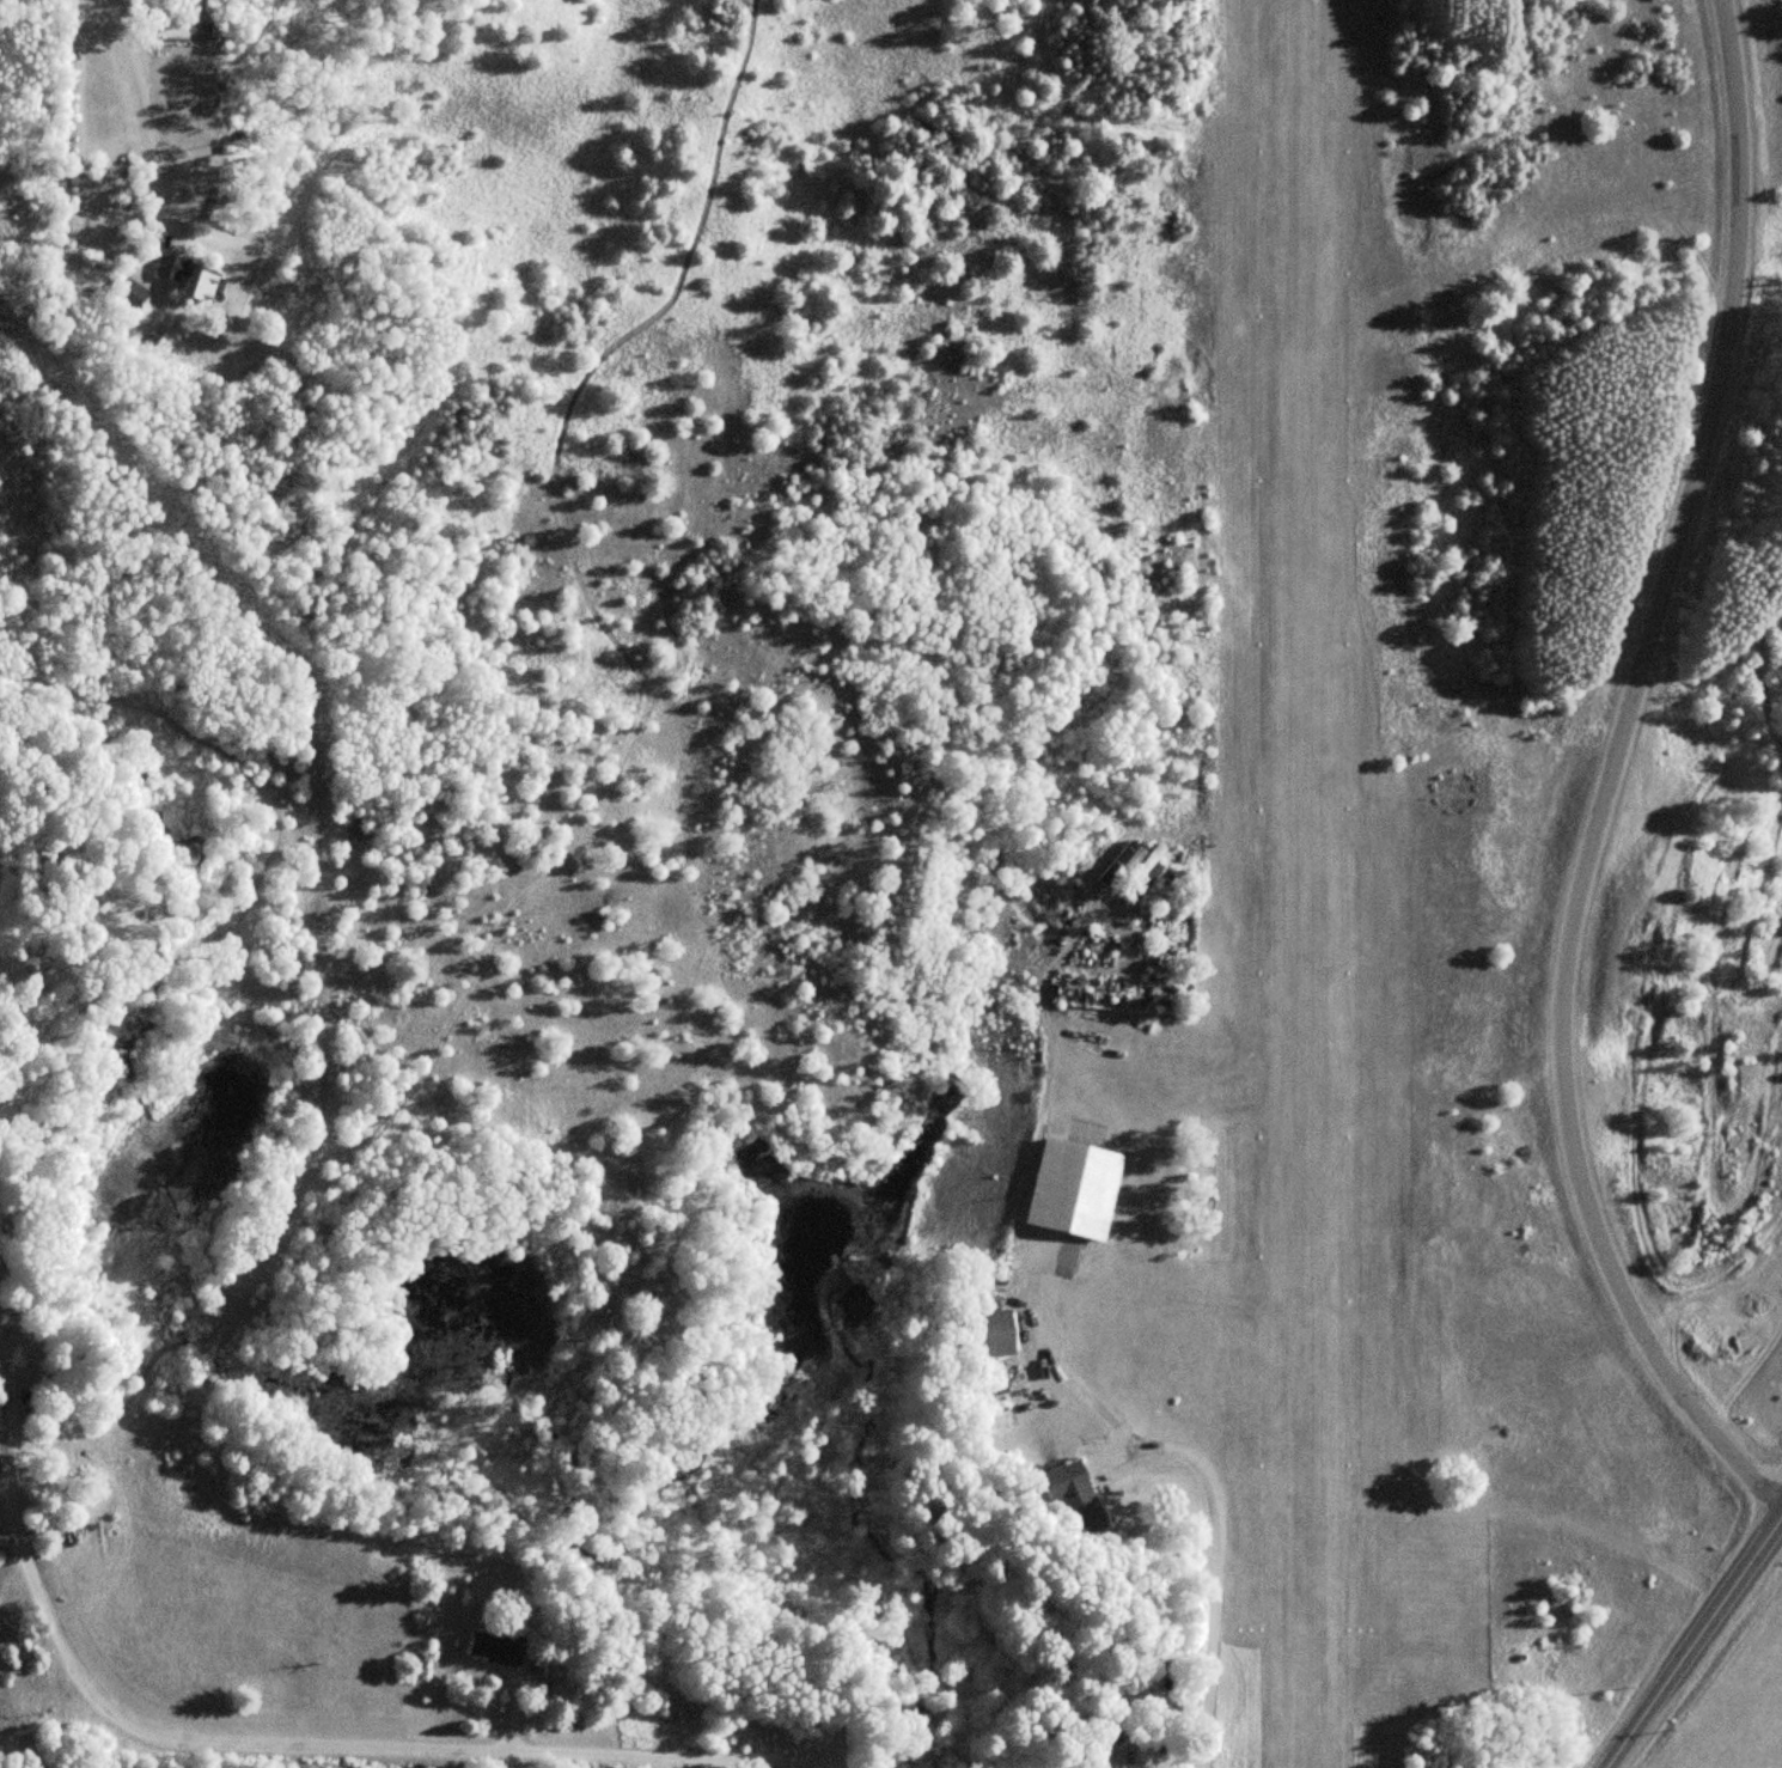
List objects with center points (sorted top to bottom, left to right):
road: (142, 108)
building: (187, 278)
road: (1600, 782)
building: (1131, 867)
airport runway: (1300, 884)
building: (1072, 1188)
building: (989, 1334)
building: (1073, 1496)
road: (1208, 1563)
road: (1693, 1641)
building: (501, 1642)
road: (276, 1752)

